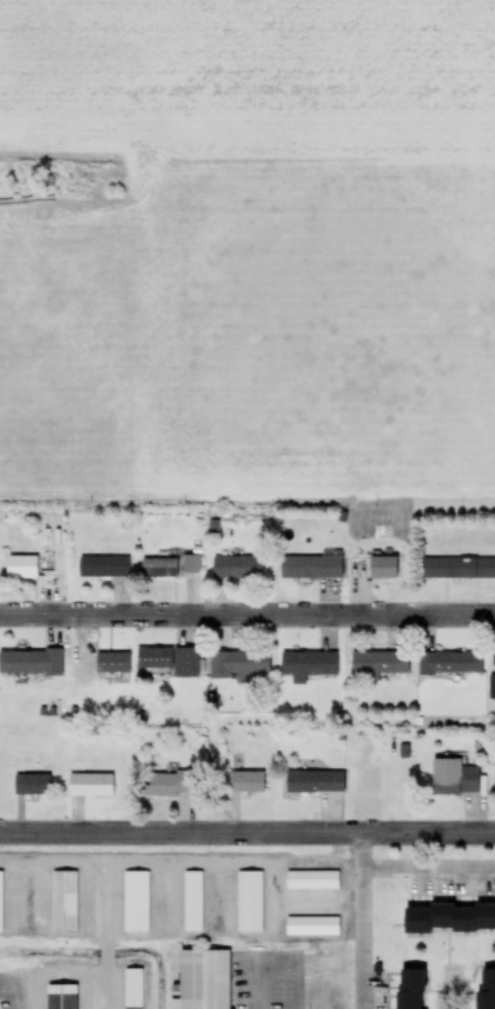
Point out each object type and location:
crop: (247, 77)
building: (192, 565)
building: (22, 567)
building: (105, 567)
building: (313, 567)
building: (237, 568)
building: (384, 568)
building: (160, 569)
building: (458, 569)
road: (247, 615)
building: (171, 661)
building: (31, 662)
building: (113, 663)
building: (238, 664)
building: (310, 664)
building: (381, 664)
building: (451, 664)
building: (492, 688)
building: (454, 779)
building: (247, 783)
building: (315, 783)
building: (33, 784)
building: (171, 785)
building: (90, 786)
road: (247, 832)
road: (368, 851)
road: (368, 876)
building: (313, 882)
building: (250, 897)
building: (138, 898)
building: (1, 902)
building: (64, 903)
building: (194, 903)
building: (449, 920)
building: (204, 981)
building: (134, 989)
building: (486, 989)
building: (411, 990)
building: (64, 996)

